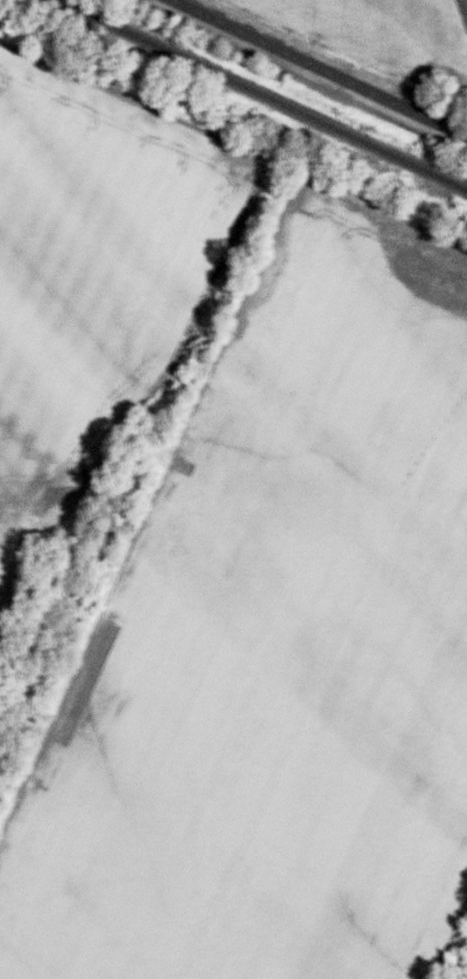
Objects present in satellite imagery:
road: (320, 68)
railway: (263, 93)

